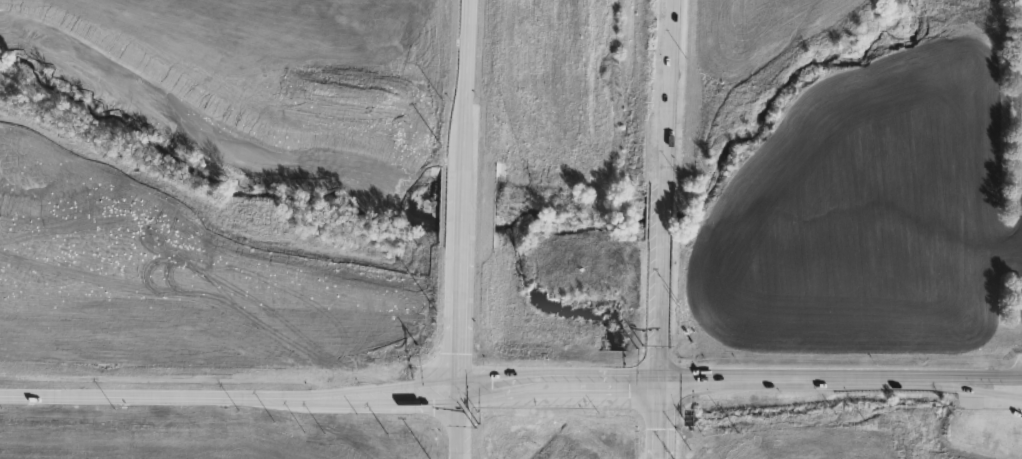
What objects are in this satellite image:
crop: (266, 41)
road: (663, 191)
road: (464, 229)
traffic signals: (462, 340)
road: (455, 370)
traffic signals: (486, 370)
traffic signals: (680, 376)
road: (841, 378)
road: (126, 396)
traffic signals: (434, 402)
road: (560, 402)
road: (357, 403)
traffic signals: (628, 404)
road: (841, 407)
road: (660, 421)
traffic signals: (660, 435)

